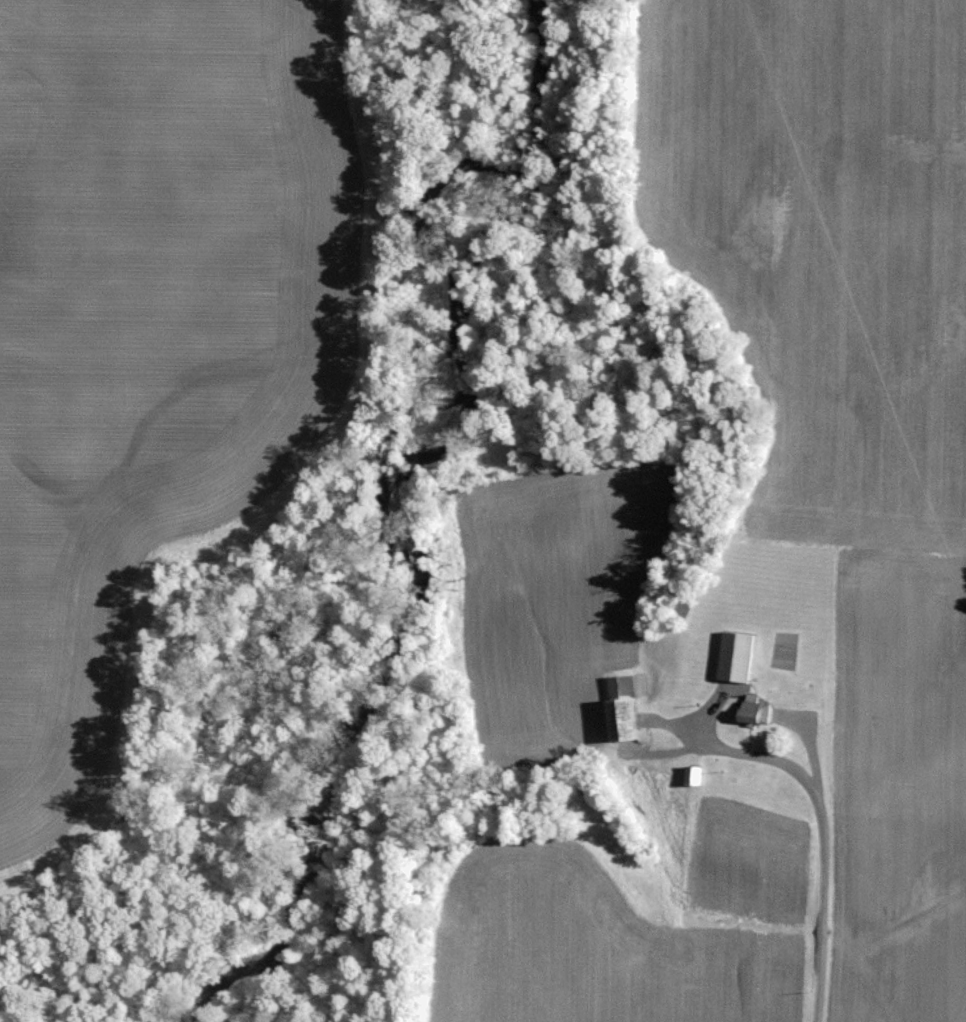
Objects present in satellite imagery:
road: (675, 719)
road: (814, 765)
road: (821, 818)

